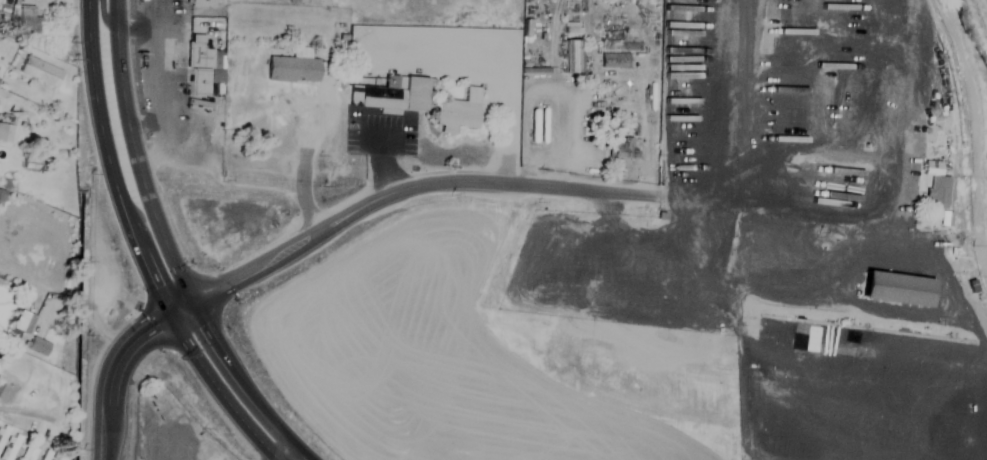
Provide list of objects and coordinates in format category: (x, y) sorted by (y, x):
building: (206, 4)
crop: (984, 7)
building: (825, 12)
road: (103, 14)
building: (28, 21)
building: (572, 57)
building: (614, 61)
building: (198, 67)
building: (292, 70)
building: (40, 72)
building: (848, 83)
building: (397, 94)
road: (123, 100)
road: (669, 106)
building: (764, 110)
building: (462, 111)
road: (98, 112)
building: (4, 131)
building: (625, 148)
road: (305, 159)
building: (936, 186)
road: (408, 187)
road: (900, 230)
building: (903, 284)
building: (17, 320)
crop: (415, 332)
road: (213, 339)
building: (39, 346)
road: (192, 347)
road: (115, 361)
road: (29, 410)
crop: (967, 414)
building: (3, 434)
building: (10, 448)
road: (280, 449)
building: (29, 454)
building: (64, 454)
building: (47, 455)

